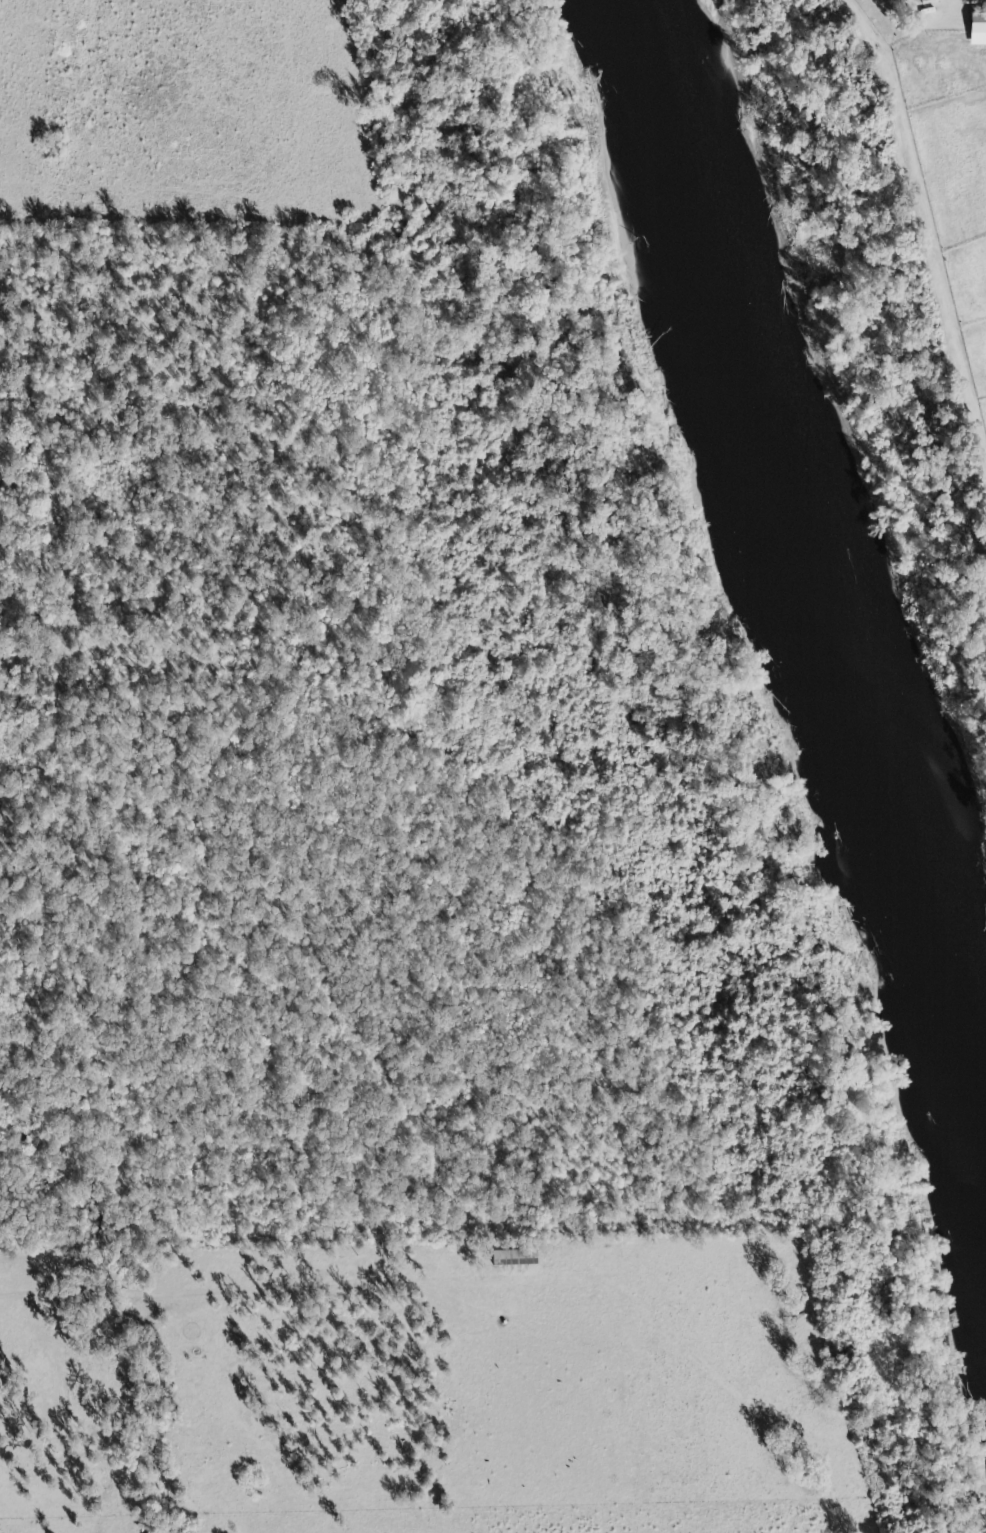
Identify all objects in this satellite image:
building: (979, 30)
road: (922, 206)
river: (796, 548)
building: (513, 1258)

